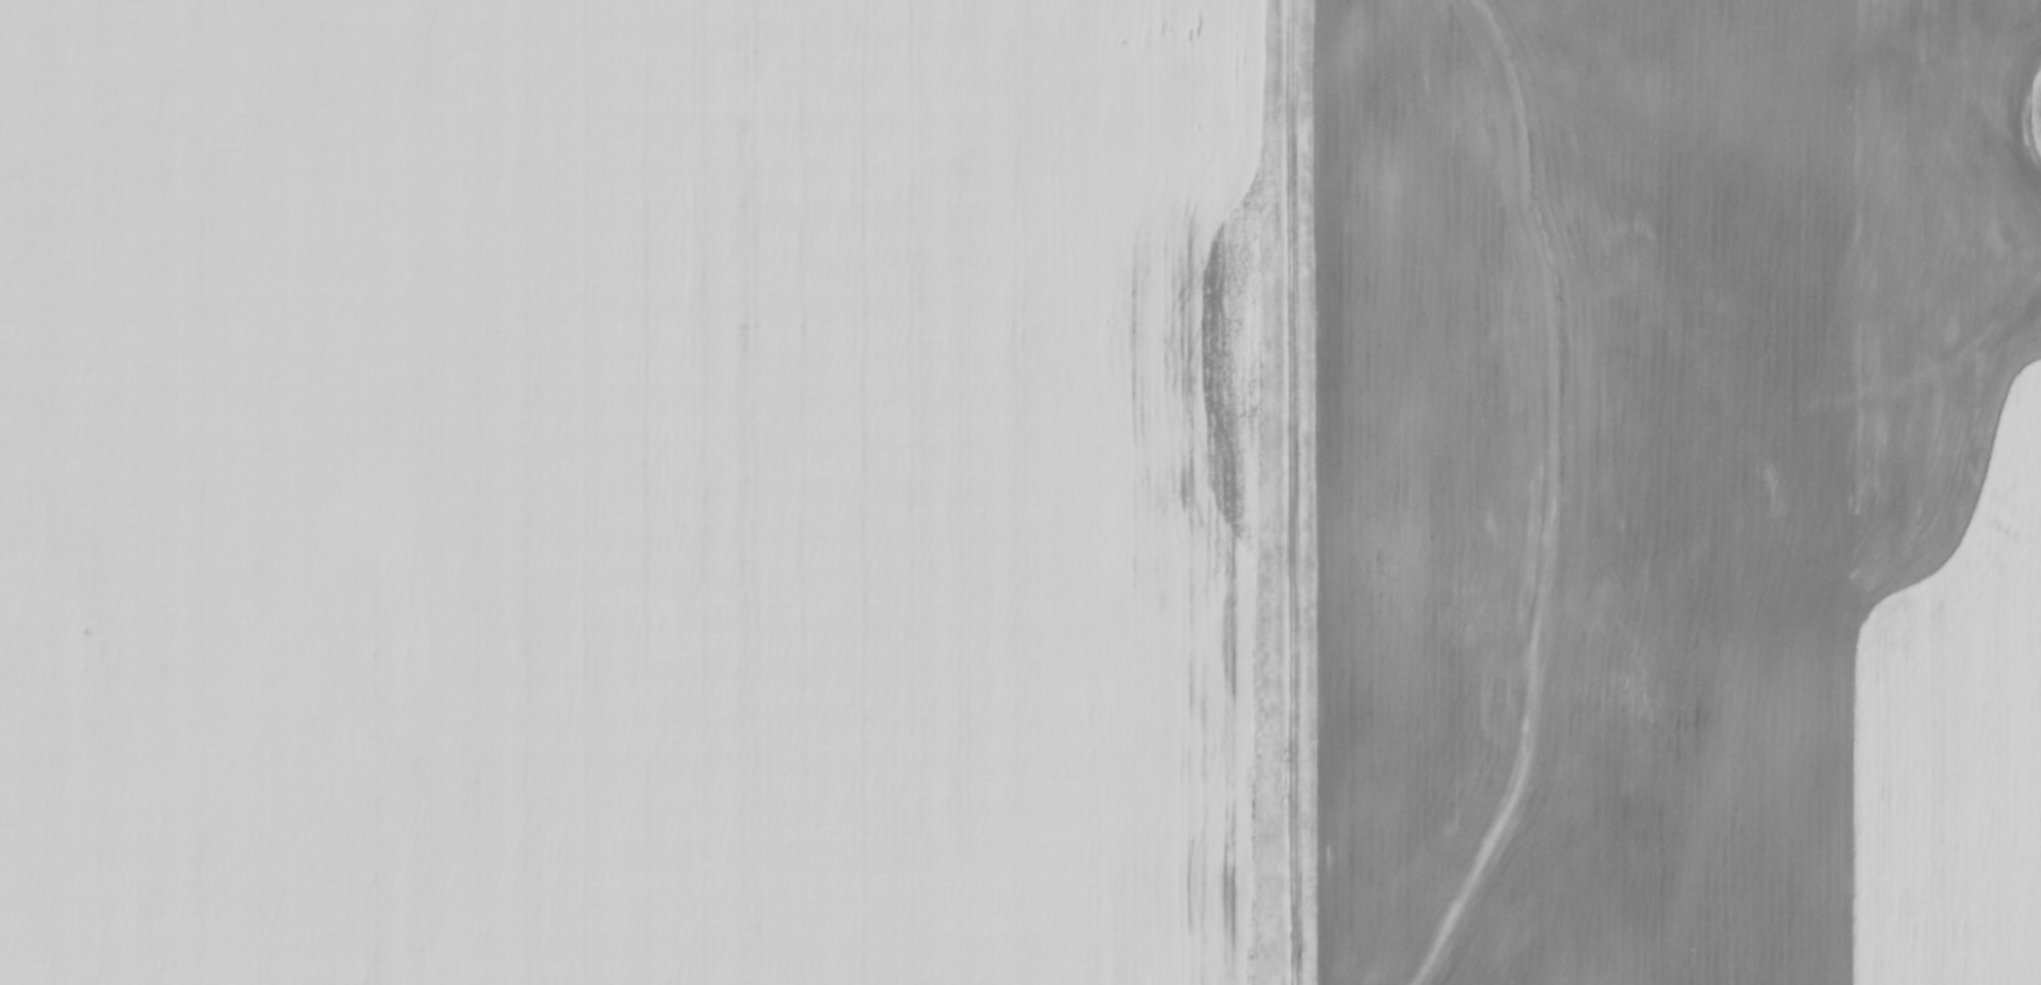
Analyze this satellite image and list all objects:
road: (1294, 492)

